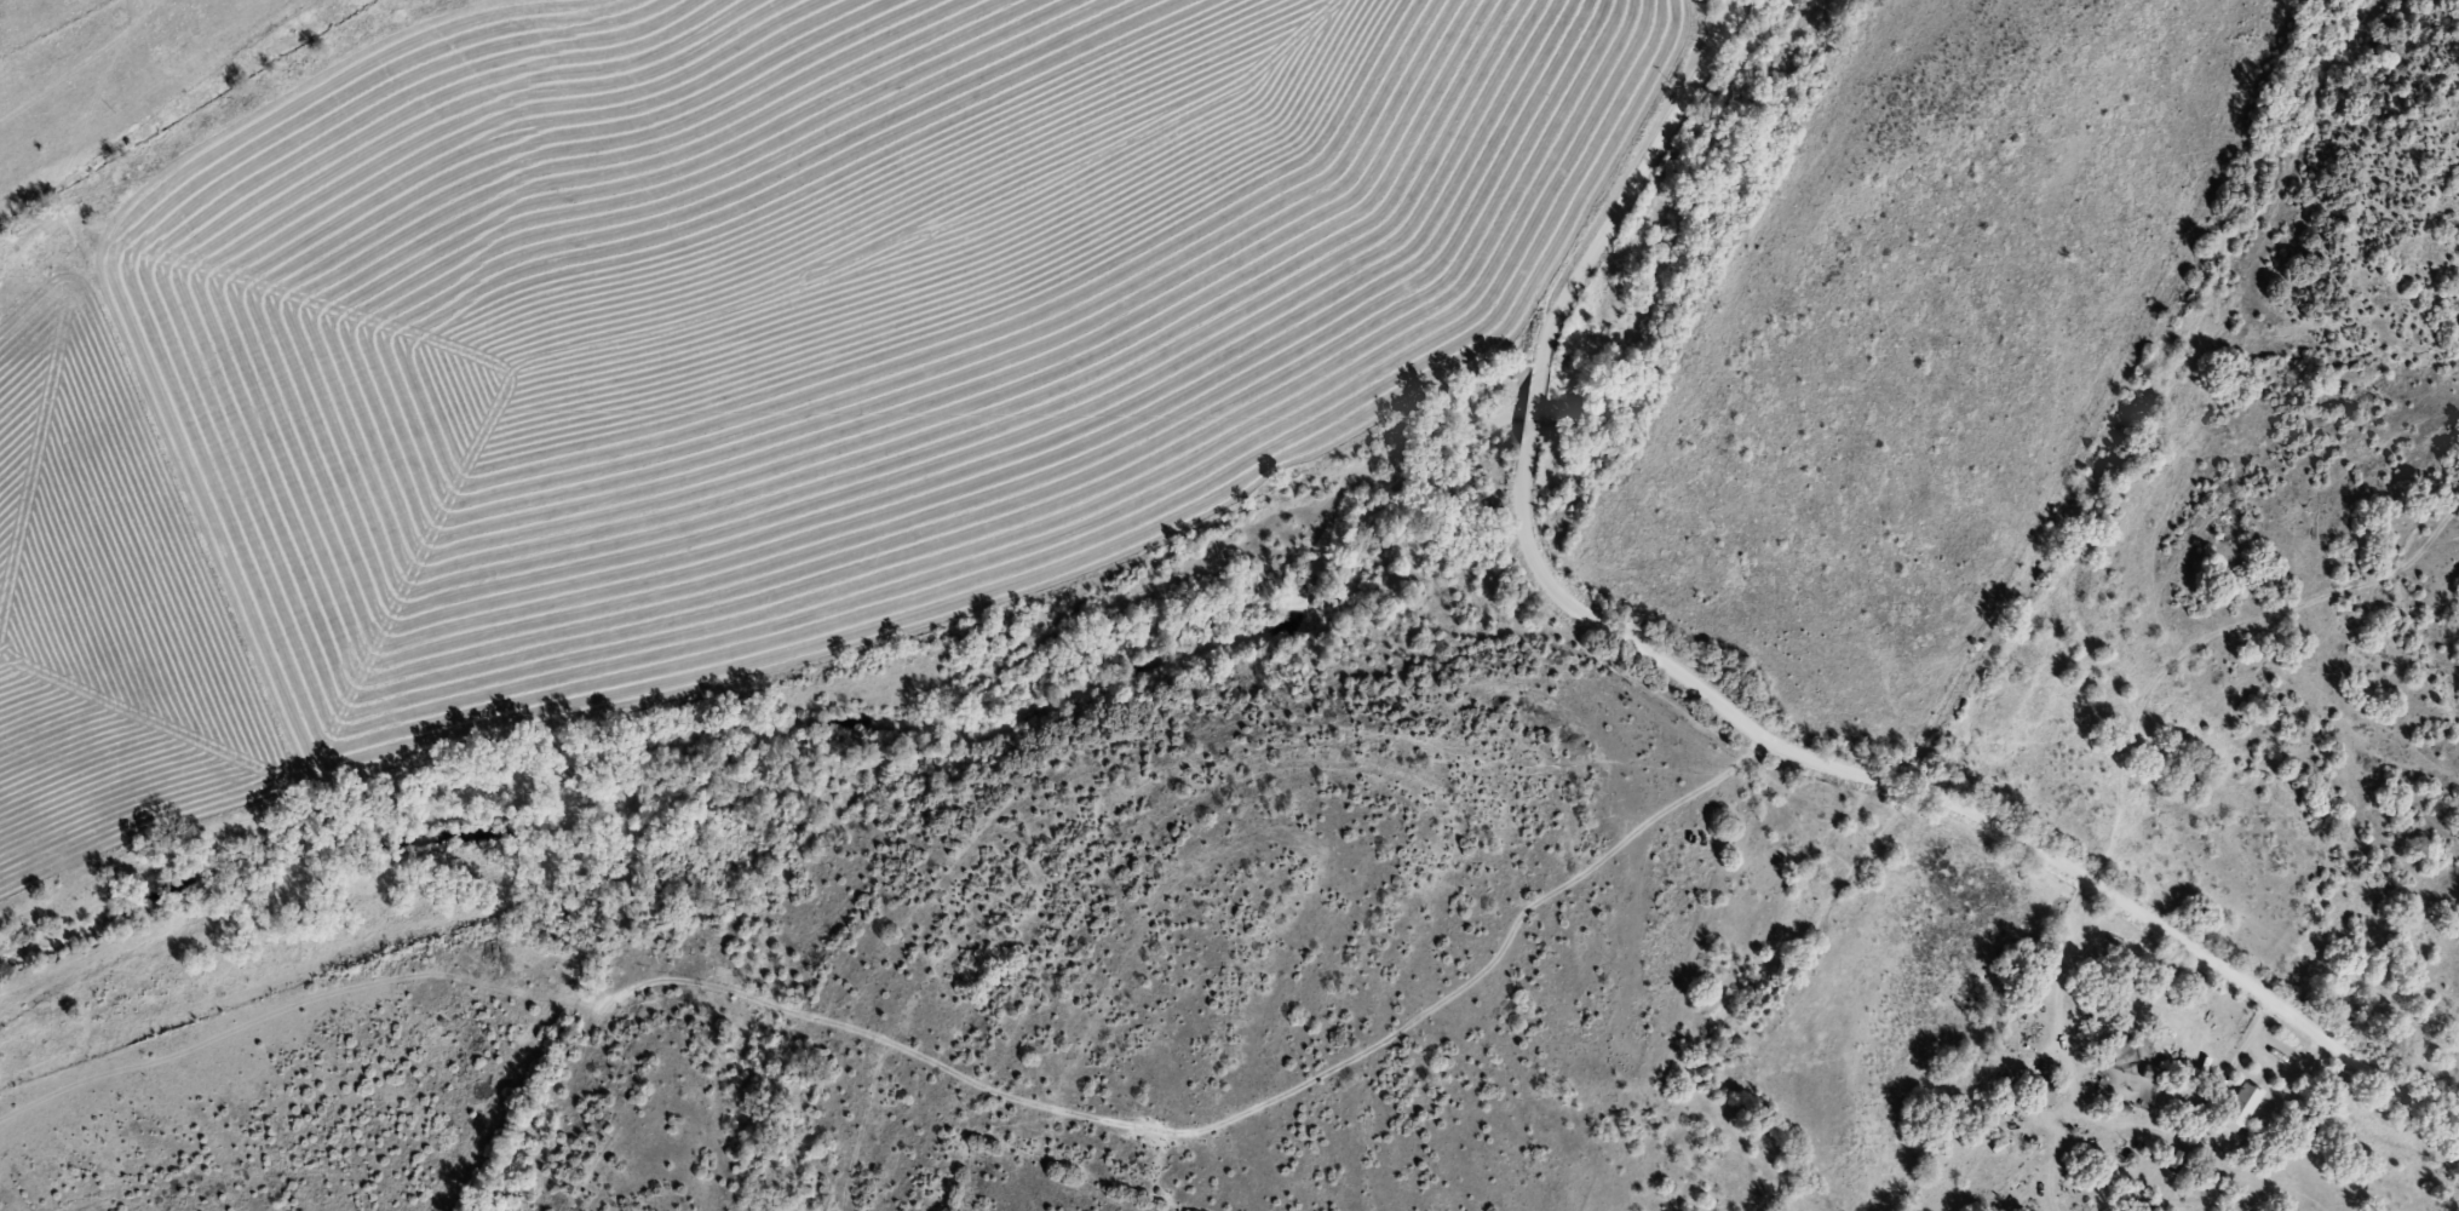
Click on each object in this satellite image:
road: (123, 78)
road: (1527, 412)
building: (2193, 773)
road: (2131, 919)
building: (2121, 1049)
building: (2246, 1108)
road: (1187, 1158)

